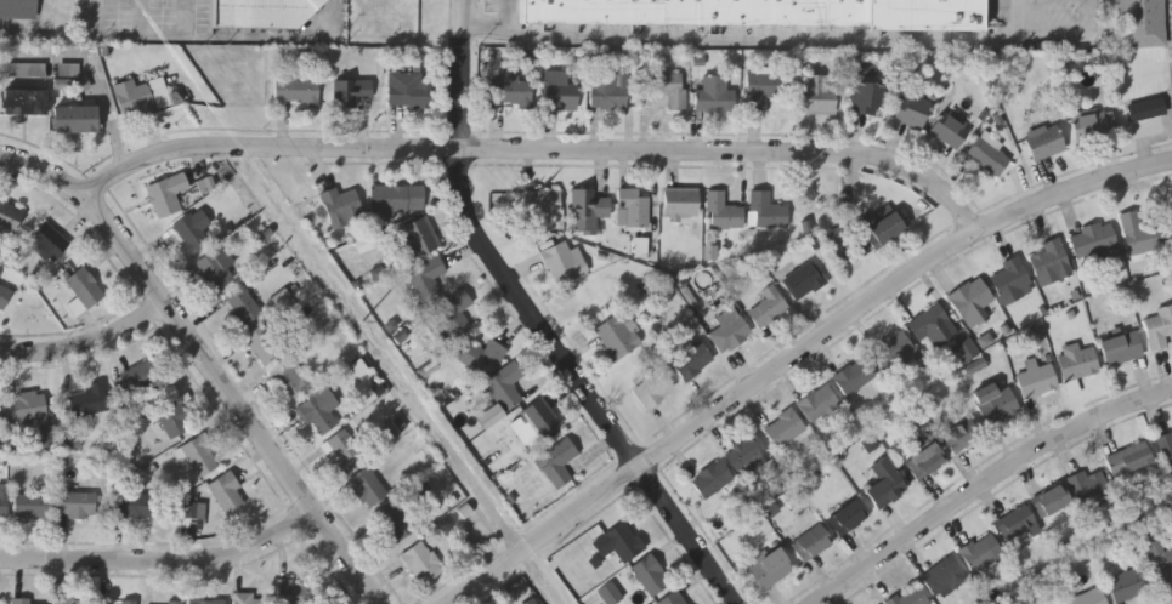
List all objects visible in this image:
building: (18, 10)
building: (264, 12)
building: (766, 13)
road: (96, 17)
road: (142, 17)
road: (187, 17)
parking lot: (143, 19)
building: (1142, 24)
road: (141, 34)
road: (760, 40)
building: (27, 69)
building: (69, 70)
building: (668, 89)
building: (764, 91)
building: (409, 92)
building: (509, 92)
building: (162, 93)
building: (296, 93)
building: (352, 93)
building: (559, 93)
building: (608, 95)
building: (714, 97)
building: (817, 97)
building: (137, 99)
building: (868, 101)
building: (24, 104)
building: (1144, 107)
building: (912, 113)
building: (74, 121)
building: (1093, 126)
building: (949, 132)
building: (1044, 143)
road: (544, 149)
building: (989, 158)
building: (206, 186)
building: (166, 196)
building: (396, 199)
building: (542, 203)
building: (680, 204)
building: (340, 206)
building: (633, 210)
building: (1170, 211)
building: (588, 212)
building: (765, 212)
building: (721, 213)
building: (9, 220)
building: (885, 232)
building: (1140, 233)
building: (191, 237)
building: (834, 238)
building: (419, 239)
building: (49, 243)
building: (372, 243)
building: (1094, 244)
building: (640, 245)
building: (564, 264)
building: (1051, 264)
building: (0, 273)
building: (215, 273)
building: (428, 279)
building: (804, 283)
building: (1012, 283)
building: (83, 290)
building: (4, 296)
building: (972, 303)
building: (243, 306)
building: (768, 309)
building: (454, 314)
road: (539, 323)
building: (933, 326)
building: (1160, 326)
building: (729, 332)
power tower: (366, 335)
building: (618, 337)
road: (89, 347)
building: (264, 347)
building: (893, 351)
building: (967, 351)
building: (1122, 351)
building: (480, 354)
road: (799, 357)
road: (206, 359)
building: (692, 363)
building: (1080, 365)
building: (976, 366)
building: (142, 377)
building: (854, 378)
building: (290, 382)
building: (1037, 383)
building: (504, 386)
building: (653, 391)
building: (90, 399)
building: (819, 405)
building: (995, 405)
building: (28, 408)
building: (491, 416)
building: (317, 417)
building: (172, 420)
building: (540, 421)
building: (0, 427)
building: (783, 431)
building: (959, 435)
building: (47, 437)
building: (1166, 452)
building: (342, 454)
building: (746, 456)
building: (199, 457)
building: (1129, 461)
building: (925, 463)
building: (557, 465)
building: (712, 482)
building: (885, 486)
road: (992, 486)
building: (367, 490)
building: (1091, 490)
building: (227, 495)
building: (4, 502)
building: (1049, 503)
building: (78, 506)
building: (33, 507)
building: (131, 507)
building: (196, 509)
building: (848, 519)
building: (395, 525)
building: (1017, 525)
building: (619, 545)
building: (810, 545)
building: (981, 557)
building: (1157, 559)
road: (164, 564)
building: (421, 565)
building: (770, 570)
building: (651, 577)
building: (944, 579)
building: (1128, 586)
building: (295, 593)
building: (611, 593)
building: (910, 597)
building: (1091, 598)
building: (247, 599)
building: (673, 599)
building: (21, 602)
building: (72, 602)
building: (531, 602)
building: (1, 603)
building: (128, 603)
building: (174, 603)
building: (208, 603)

